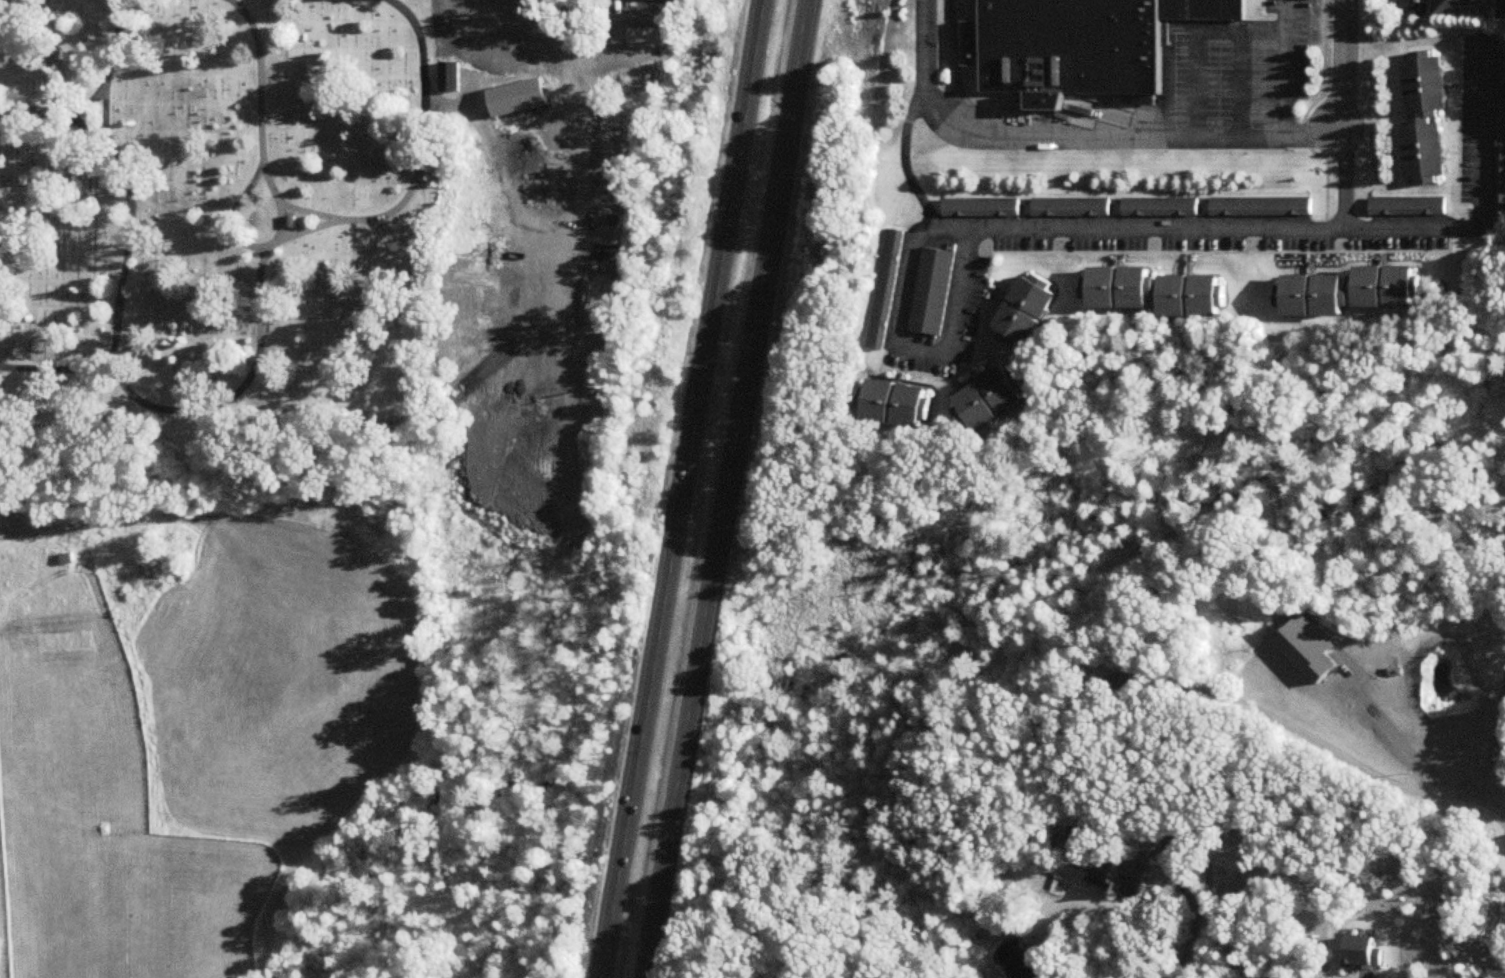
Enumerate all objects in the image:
building: (642, 1)
building: (1461, 5)
parking lot: (1267, 7)
road: (1504, 8)
building: (1182, 10)
building: (1225, 10)
road: (1402, 10)
road: (1195, 41)
building: (1067, 50)
parking lot: (1299, 50)
building: (52, 61)
road: (1339, 64)
road: (960, 66)
road: (1283, 69)
road: (576, 71)
parking lot: (1177, 77)
building: (1502, 77)
building: (1422, 78)
building: (449, 79)
parking lot: (1215, 84)
parking lot: (1260, 84)
road: (1239, 85)
road: (104, 86)
road: (1304, 114)
road: (1459, 134)
road: (1073, 139)
road: (103, 143)
building: (1422, 146)
road: (904, 160)
building: (1501, 168)
road: (1484, 203)
park: (216, 207)
building: (1261, 207)
building: (1413, 207)
building: (1159, 208)
building: (980, 209)
building: (1069, 209)
road: (345, 222)
road: (307, 233)
road: (1033, 233)
road: (236, 240)
road: (1169, 255)
building: (1115, 285)
building: (1345, 286)
building: (885, 290)
building: (1190, 293)
building: (931, 294)
building: (1024, 305)
road: (118, 307)
road: (905, 372)
road: (743, 383)
road: (235, 392)
building: (990, 399)
building: (899, 403)
road: (684, 489)
building: (1311, 651)
road: (1416, 762)
road: (678, 779)
road: (1176, 842)
building: (1120, 878)
road: (662, 884)
road: (1187, 947)

